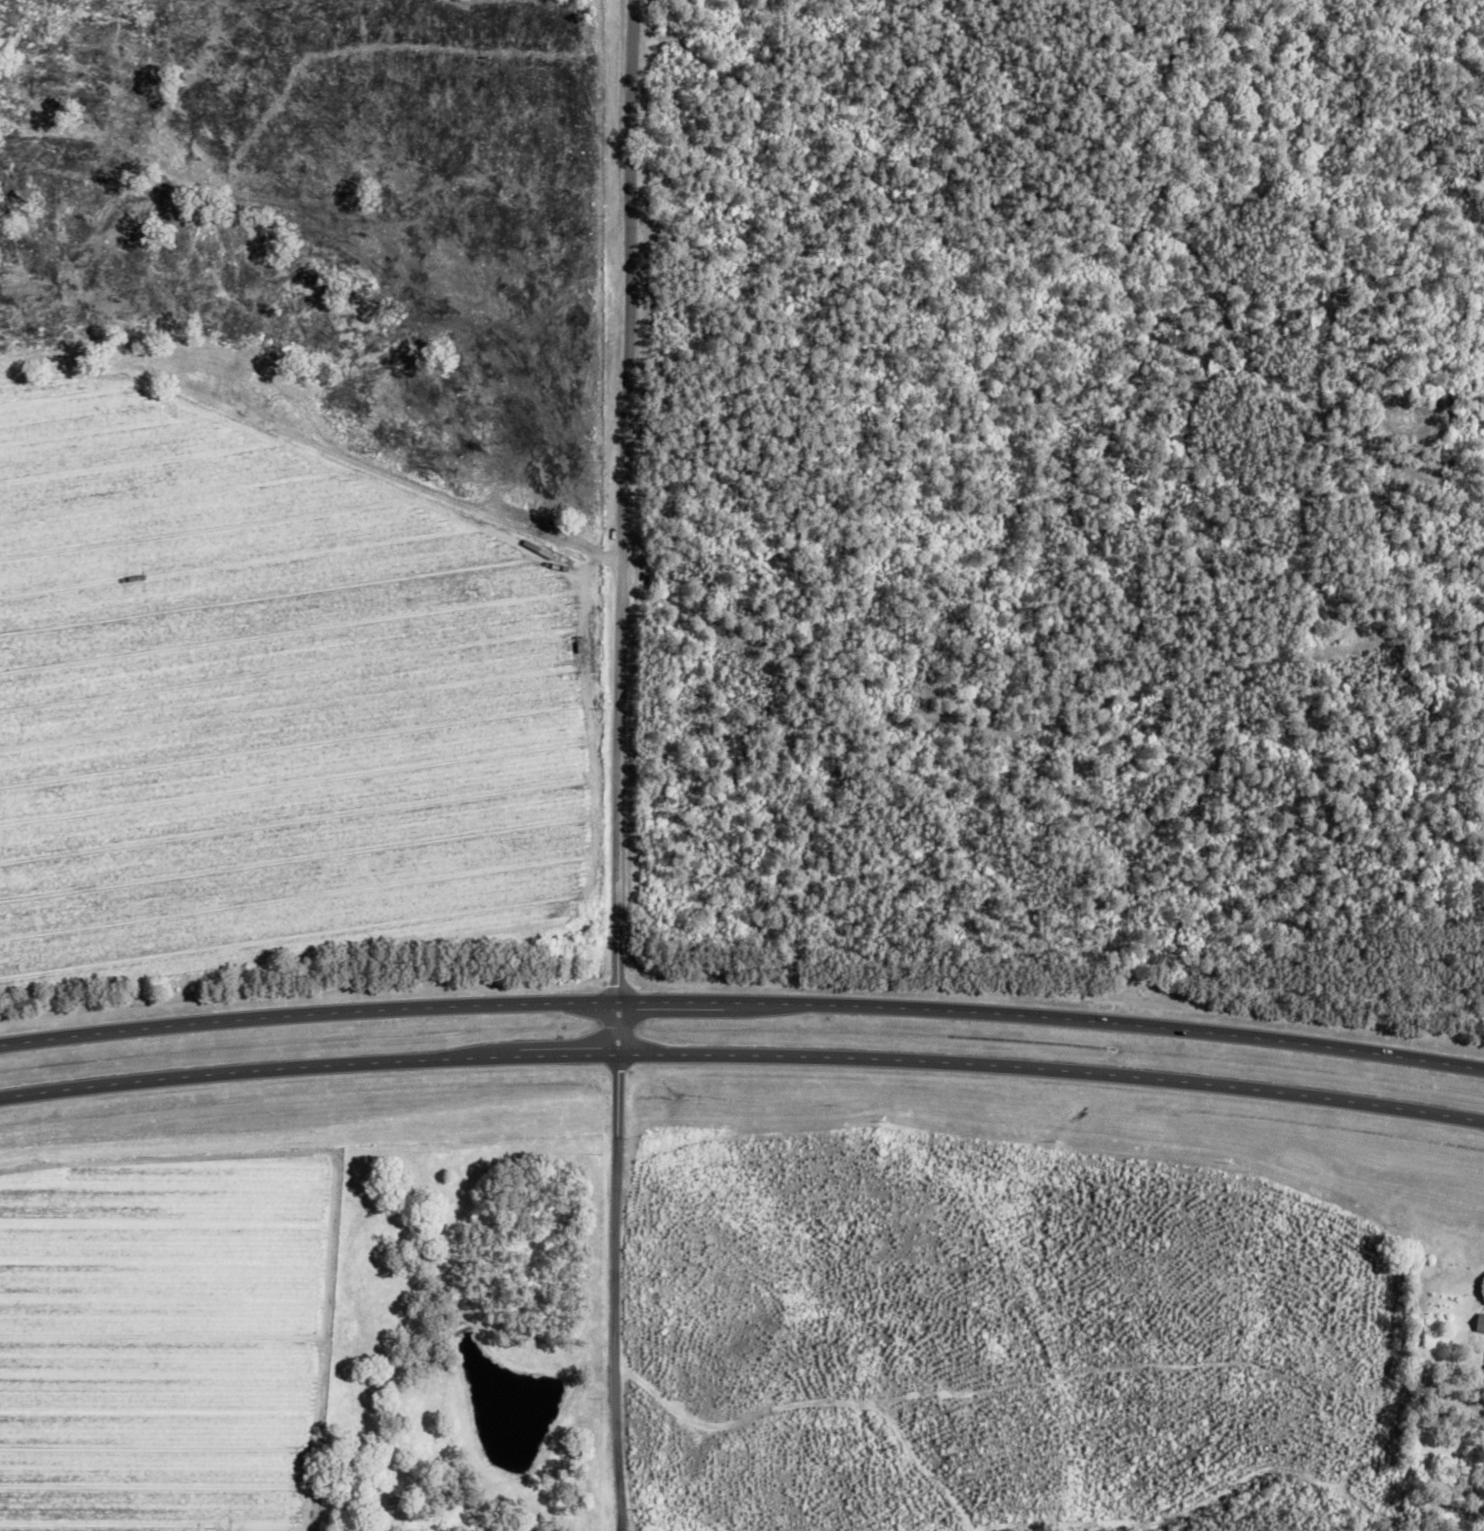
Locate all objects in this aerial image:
road: (628, 766)
road: (742, 1001)
road: (742, 1055)
building: (1480, 1324)

